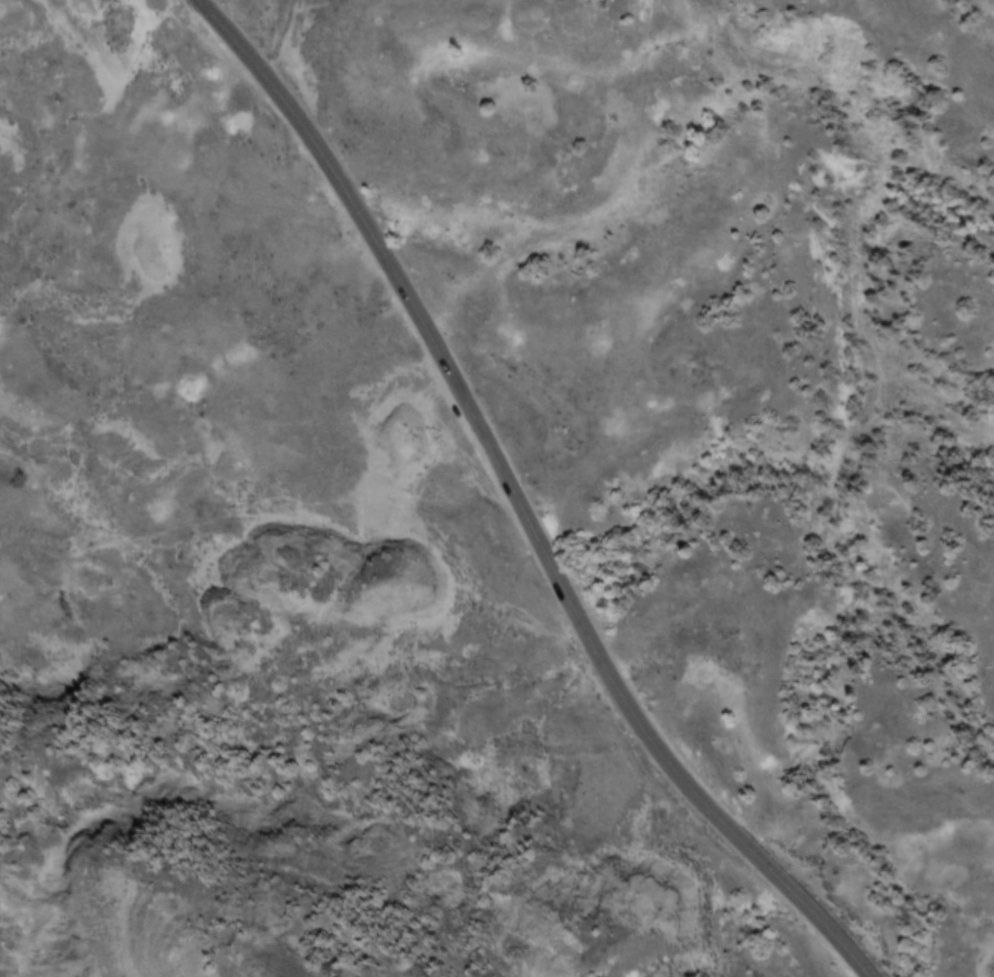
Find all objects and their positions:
road: (513, 502)

